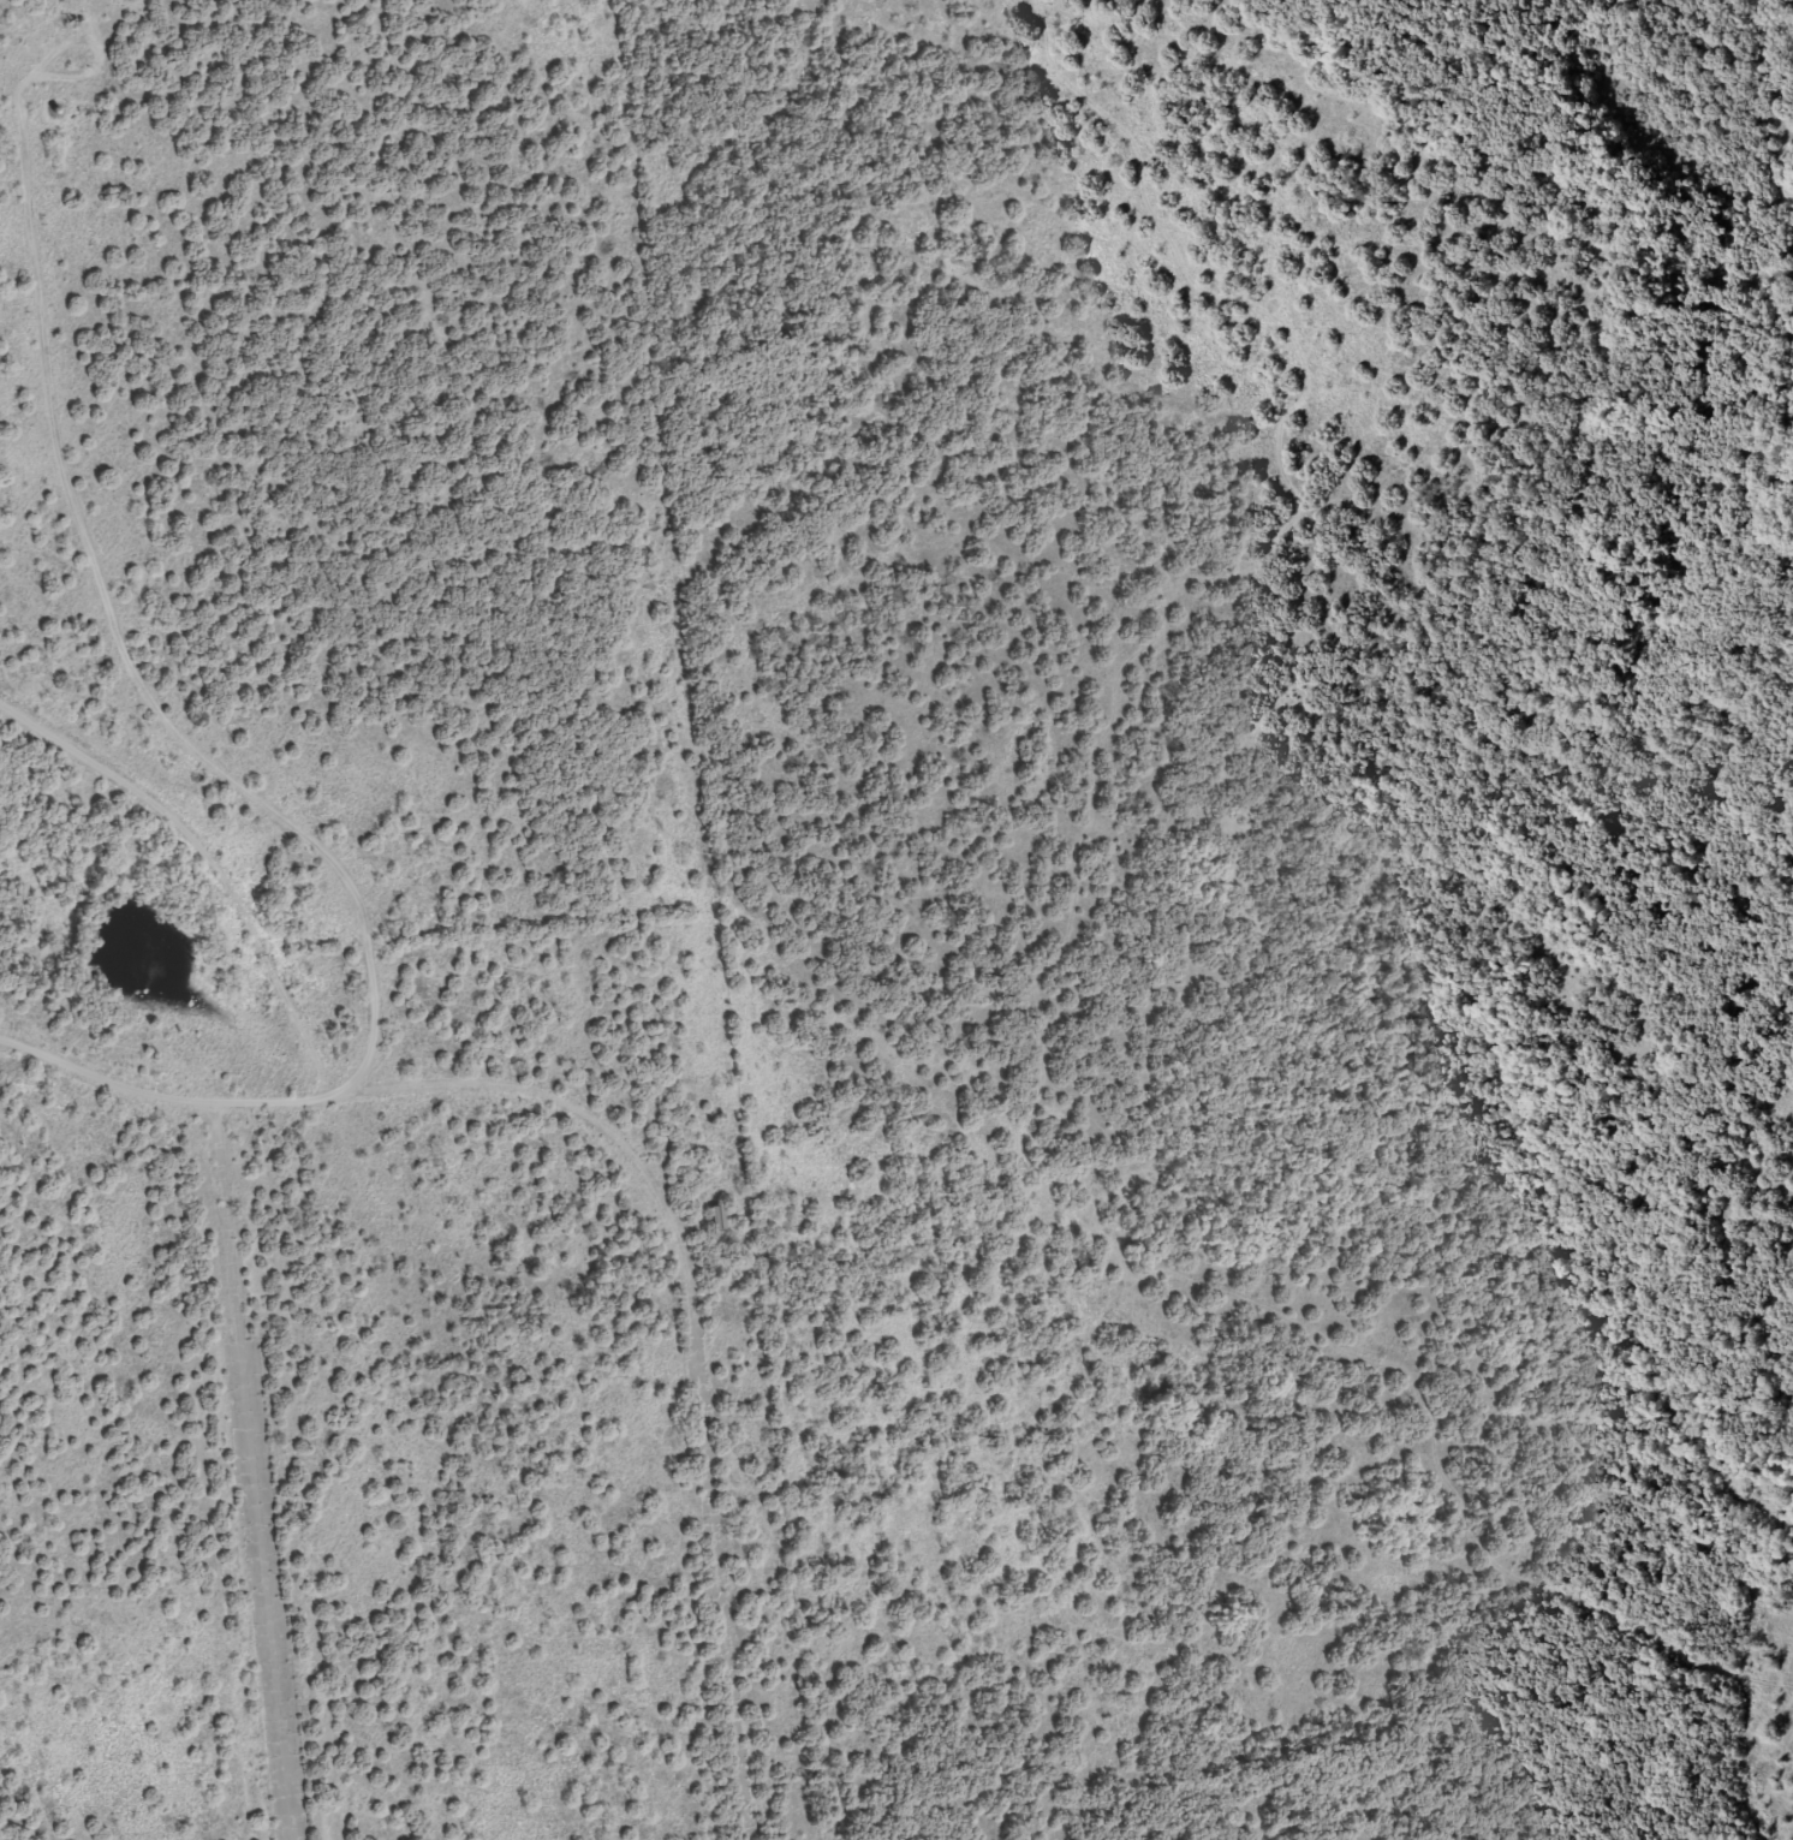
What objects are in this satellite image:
road: (56, 43)
road: (219, 772)
building: (719, 1220)
road: (693, 1333)
road: (250, 1469)
road: (1575, 1615)

